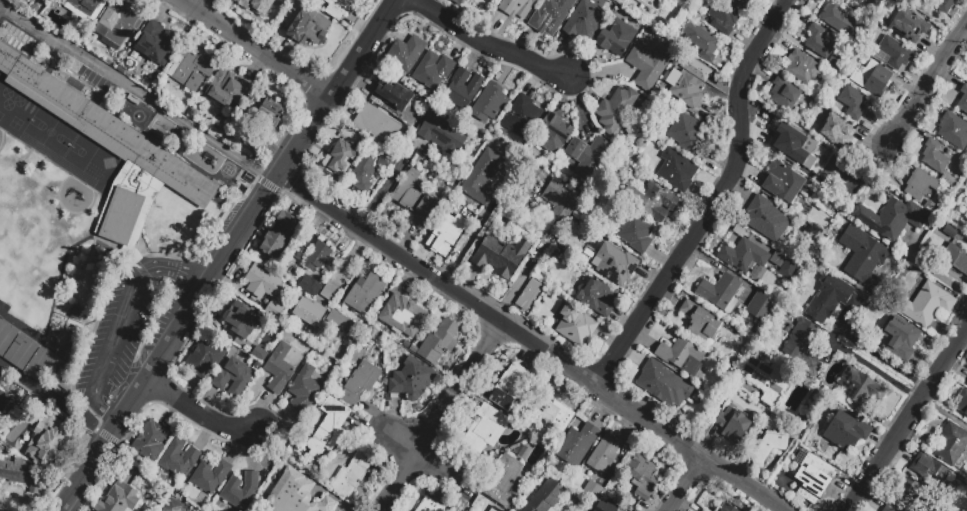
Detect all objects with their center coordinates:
building: (755, 0)
building: (458, 2)
building: (619, 2)
building: (860, 2)
road: (196, 3)
building: (653, 4)
building: (743, 4)
building: (944, 5)
building: (257, 6)
building: (516, 7)
building: (87, 9)
building: (336, 9)
building: (552, 15)
building: (839, 18)
building: (723, 20)
building: (585, 23)
building: (119, 24)
building: (308, 28)
building: (909, 28)
building: (617, 39)
building: (18, 40)
building: (702, 42)
building: (821, 43)
building: (158, 46)
road: (485, 47)
road: (258, 48)
building: (406, 56)
building: (893, 56)
building: (836, 66)
building: (649, 68)
building: (193, 70)
building: (803, 70)
building: (433, 73)
building: (876, 81)
road: (925, 85)
road: (139, 91)
building: (225, 91)
building: (462, 91)
building: (688, 91)
building: (395, 96)
building: (785, 97)
building: (132, 99)
building: (963, 102)
building: (853, 104)
building: (490, 105)
building: (616, 112)
building: (523, 119)
building: (412, 124)
building: (267, 125)
building: (378, 127)
building: (837, 131)
building: (954, 133)
building: (688, 135)
building: (173, 136)
building: (554, 136)
building: (443, 137)
building: (132, 149)
building: (803, 151)
building: (340, 156)
building: (589, 159)
building: (388, 163)
building: (939, 165)
building: (363, 173)
building: (677, 173)
building: (958, 173)
building: (483, 180)
building: (787, 186)
building: (921, 187)
road: (379, 191)
building: (416, 201)
road: (715, 201)
building: (562, 202)
building: (652, 203)
building: (930, 206)
road: (253, 218)
building: (766, 220)
building: (893, 221)
building: (951, 234)
building: (637, 236)
building: (280, 237)
building: (443, 242)
building: (300, 250)
building: (863, 255)
building: (318, 258)
building: (502, 258)
building: (744, 258)
building: (956, 260)
building: (616, 266)
building: (790, 271)
road: (523, 273)
building: (262, 284)
building: (311, 288)
building: (720, 293)
building: (330, 294)
building: (365, 296)
building: (593, 296)
building: (530, 297)
building: (833, 300)
building: (926, 307)
building: (763, 309)
building: (274, 312)
building: (310, 314)
building: (74, 315)
building: (402, 315)
building: (242, 317)
road: (124, 321)
building: (340, 323)
building: (701, 324)
building: (577, 329)
building: (6, 336)
building: (899, 337)
building: (440, 344)
road: (530, 345)
building: (68, 347)
building: (804, 348)
building: (258, 349)
building: (412, 349)
building: (21, 352)
building: (682, 358)
road: (882, 360)
building: (205, 361)
building: (41, 365)
building: (61, 371)
building: (280, 371)
road: (875, 372)
building: (412, 379)
building: (234, 380)
building: (768, 382)
building: (664, 383)
building: (966, 384)
building: (360, 385)
building: (509, 389)
building: (861, 389)
building: (305, 391)
building: (0, 396)
road: (52, 401)
building: (963, 404)
road: (204, 412)
building: (551, 414)
road: (443, 418)
road: (908, 420)
building: (734, 426)
building: (329, 429)
building: (487, 431)
building: (847, 433)
building: (47, 438)
building: (772, 441)
building: (151, 443)
building: (952, 446)
building: (578, 447)
building: (605, 457)
building: (179, 461)
road: (82, 473)
building: (18, 475)
building: (211, 478)
building: (353, 478)
building: (643, 479)
building: (814, 480)
building: (924, 480)
building: (503, 483)
road: (693, 486)
building: (241, 492)
building: (593, 493)
building: (296, 494)
building: (117, 498)
building: (548, 498)
building: (430, 506)
building: (485, 506)
building: (173, 507)
building: (607, 507)
building: (726, 508)
building: (889, 509)
building: (465, 510)

